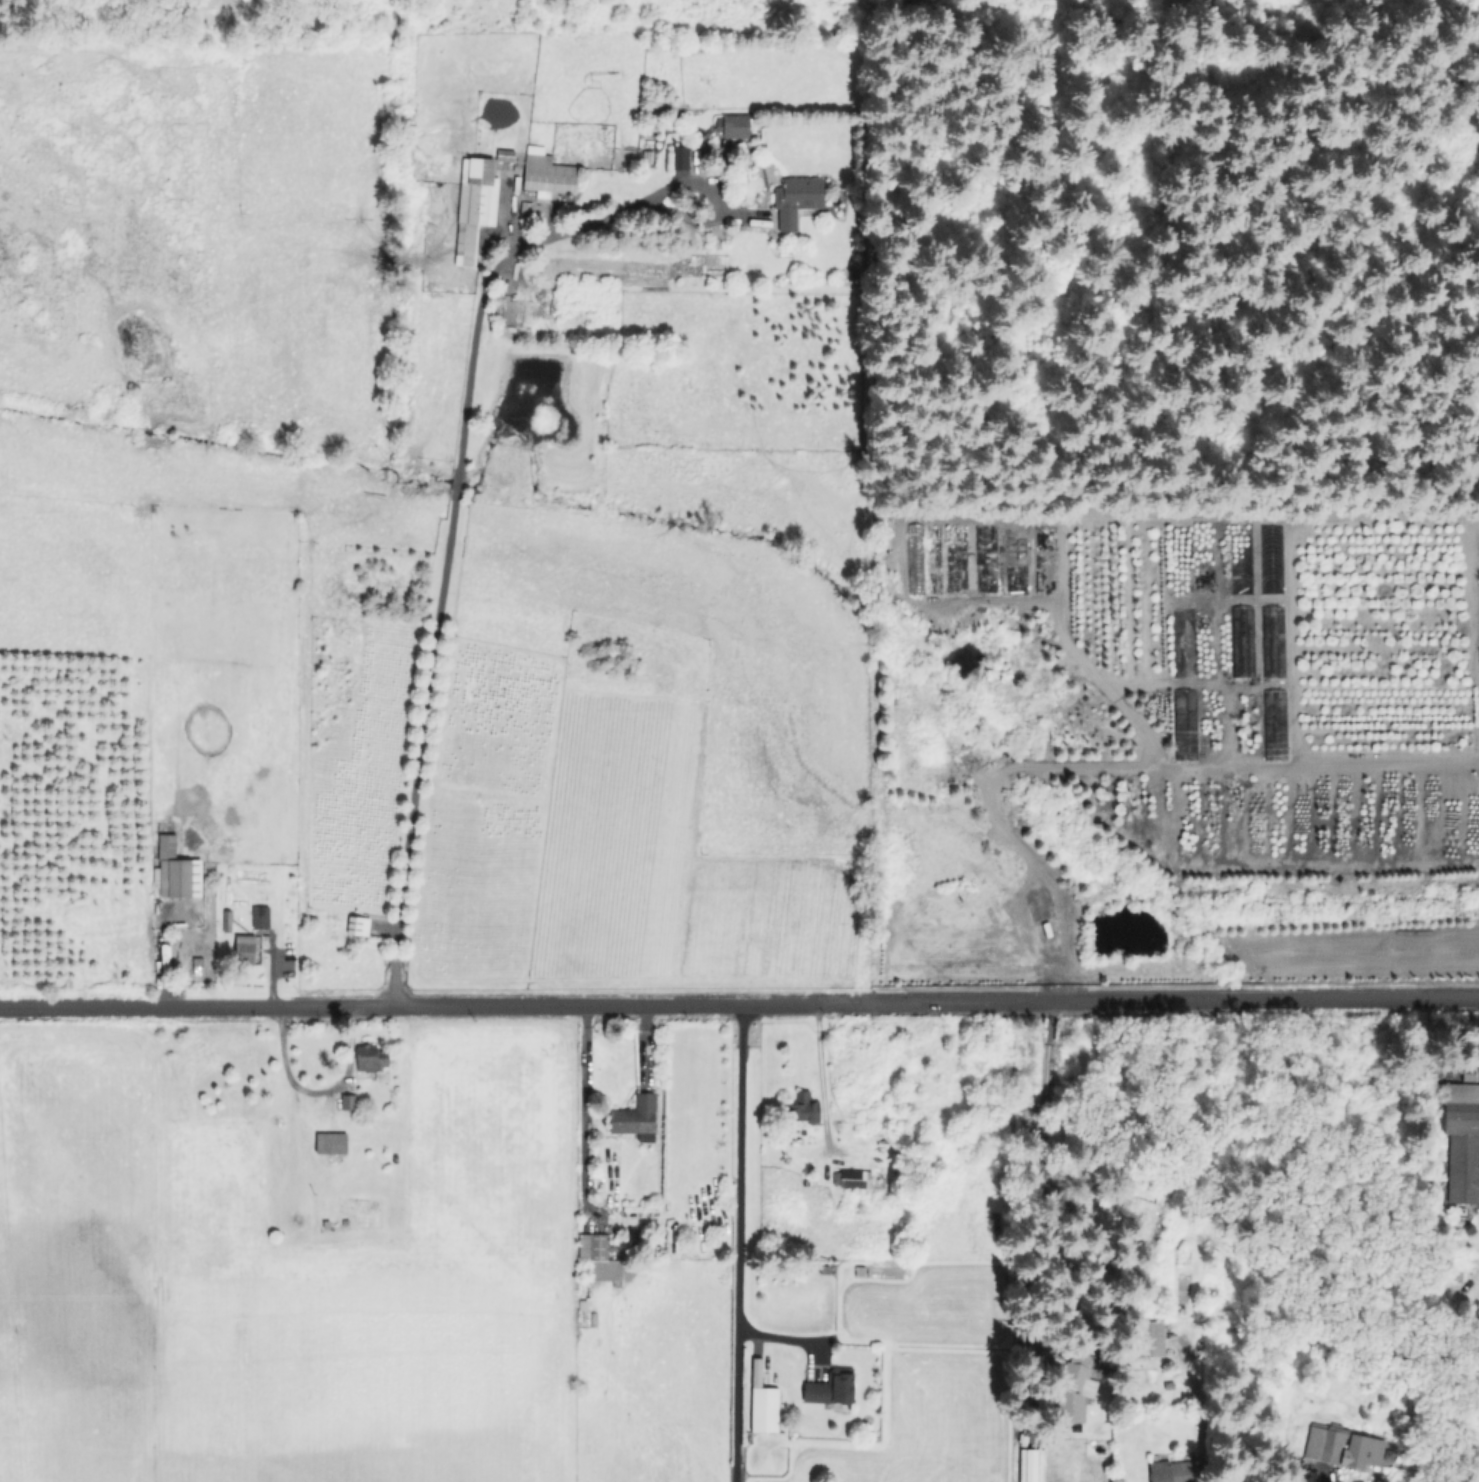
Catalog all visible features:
building: (730, 124)
building: (504, 154)
building: (679, 157)
building: (545, 173)
building: (792, 199)
building: (473, 205)
road: (454, 506)
building: (1269, 642)
building: (168, 845)
building: (177, 880)
building: (259, 916)
building: (228, 921)
building: (246, 951)
road: (271, 971)
road: (739, 1004)
building: (373, 1059)
road: (286, 1070)
road: (819, 1075)
road: (580, 1102)
building: (349, 1103)
building: (806, 1110)
building: (637, 1119)
building: (1462, 1139)
building: (333, 1143)
building: (862, 1181)
road: (738, 1243)
building: (600, 1259)
crop: (293, 1260)
building: (1152, 1340)
road: (8, 1380)
building: (1073, 1388)
building: (833, 1389)
building: (767, 1411)
building: (1343, 1447)
building: (1171, 1472)

